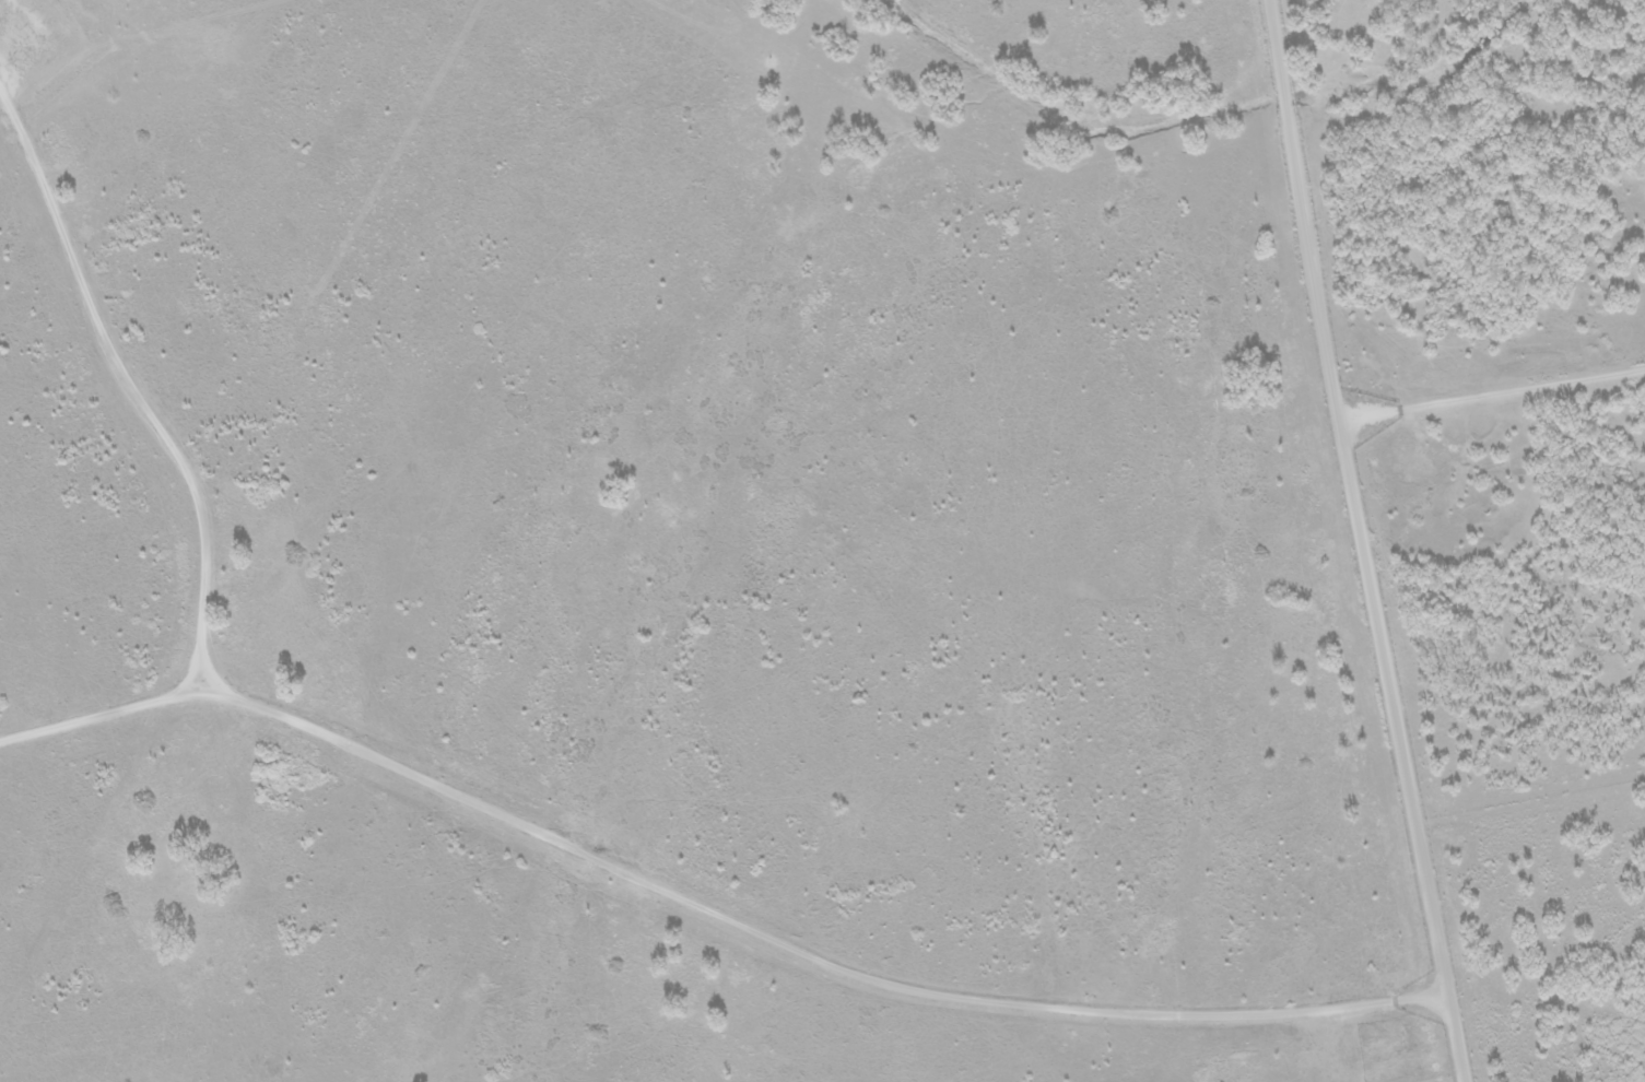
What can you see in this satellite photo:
road: (1366, 542)
road: (234, 909)
road: (710, 939)

